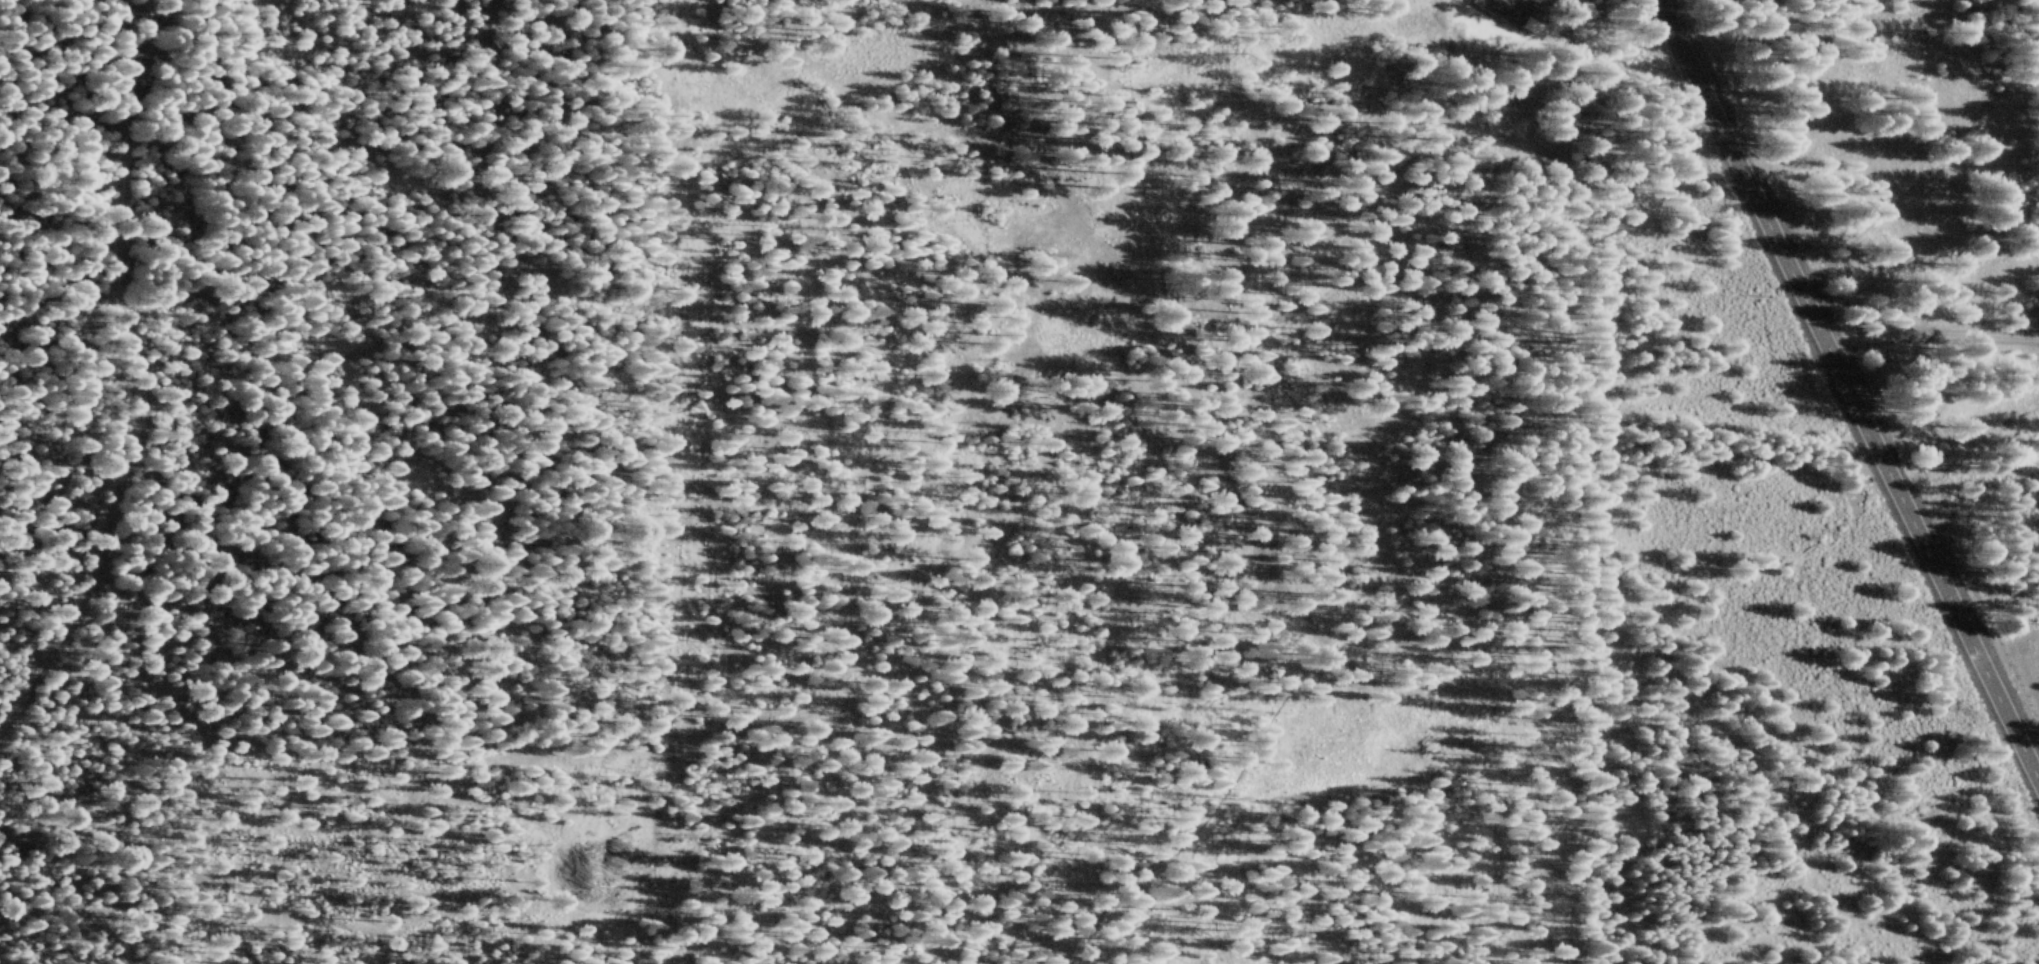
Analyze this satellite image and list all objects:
building: (1497, 7)
road: (1932, 336)
road: (1847, 391)
road: (184, 504)

